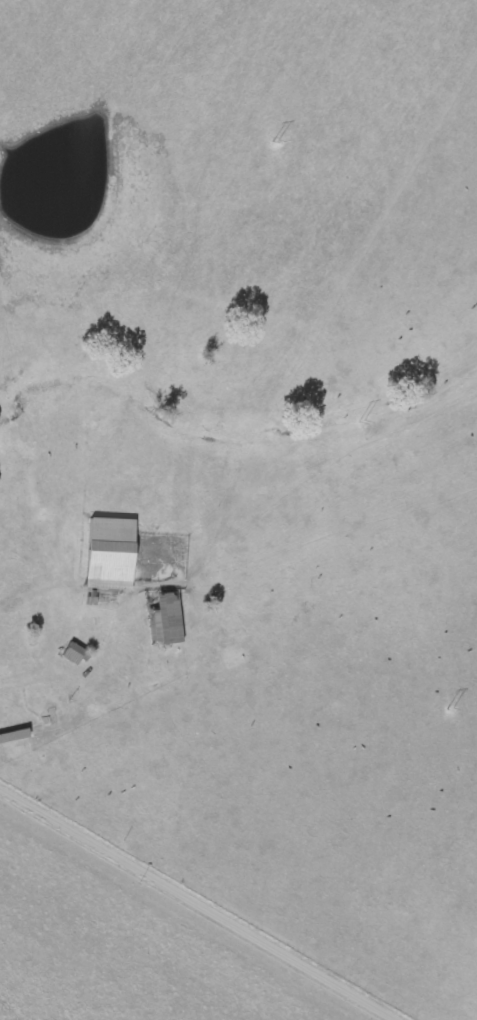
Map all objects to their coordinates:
power tower: (275, 141)
power tower: (362, 421)
power tower: (451, 709)
building: (9, 738)
road: (209, 899)

